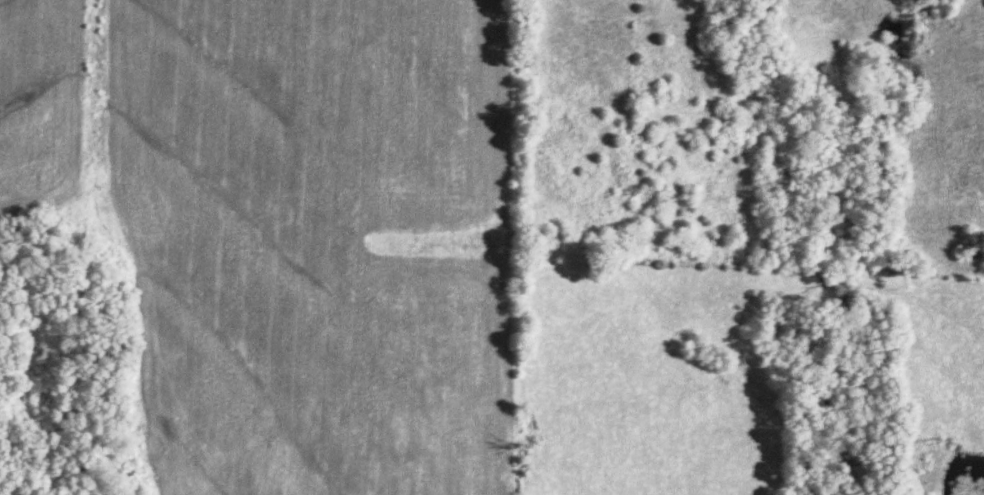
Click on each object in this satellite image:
road: (528, 9)

